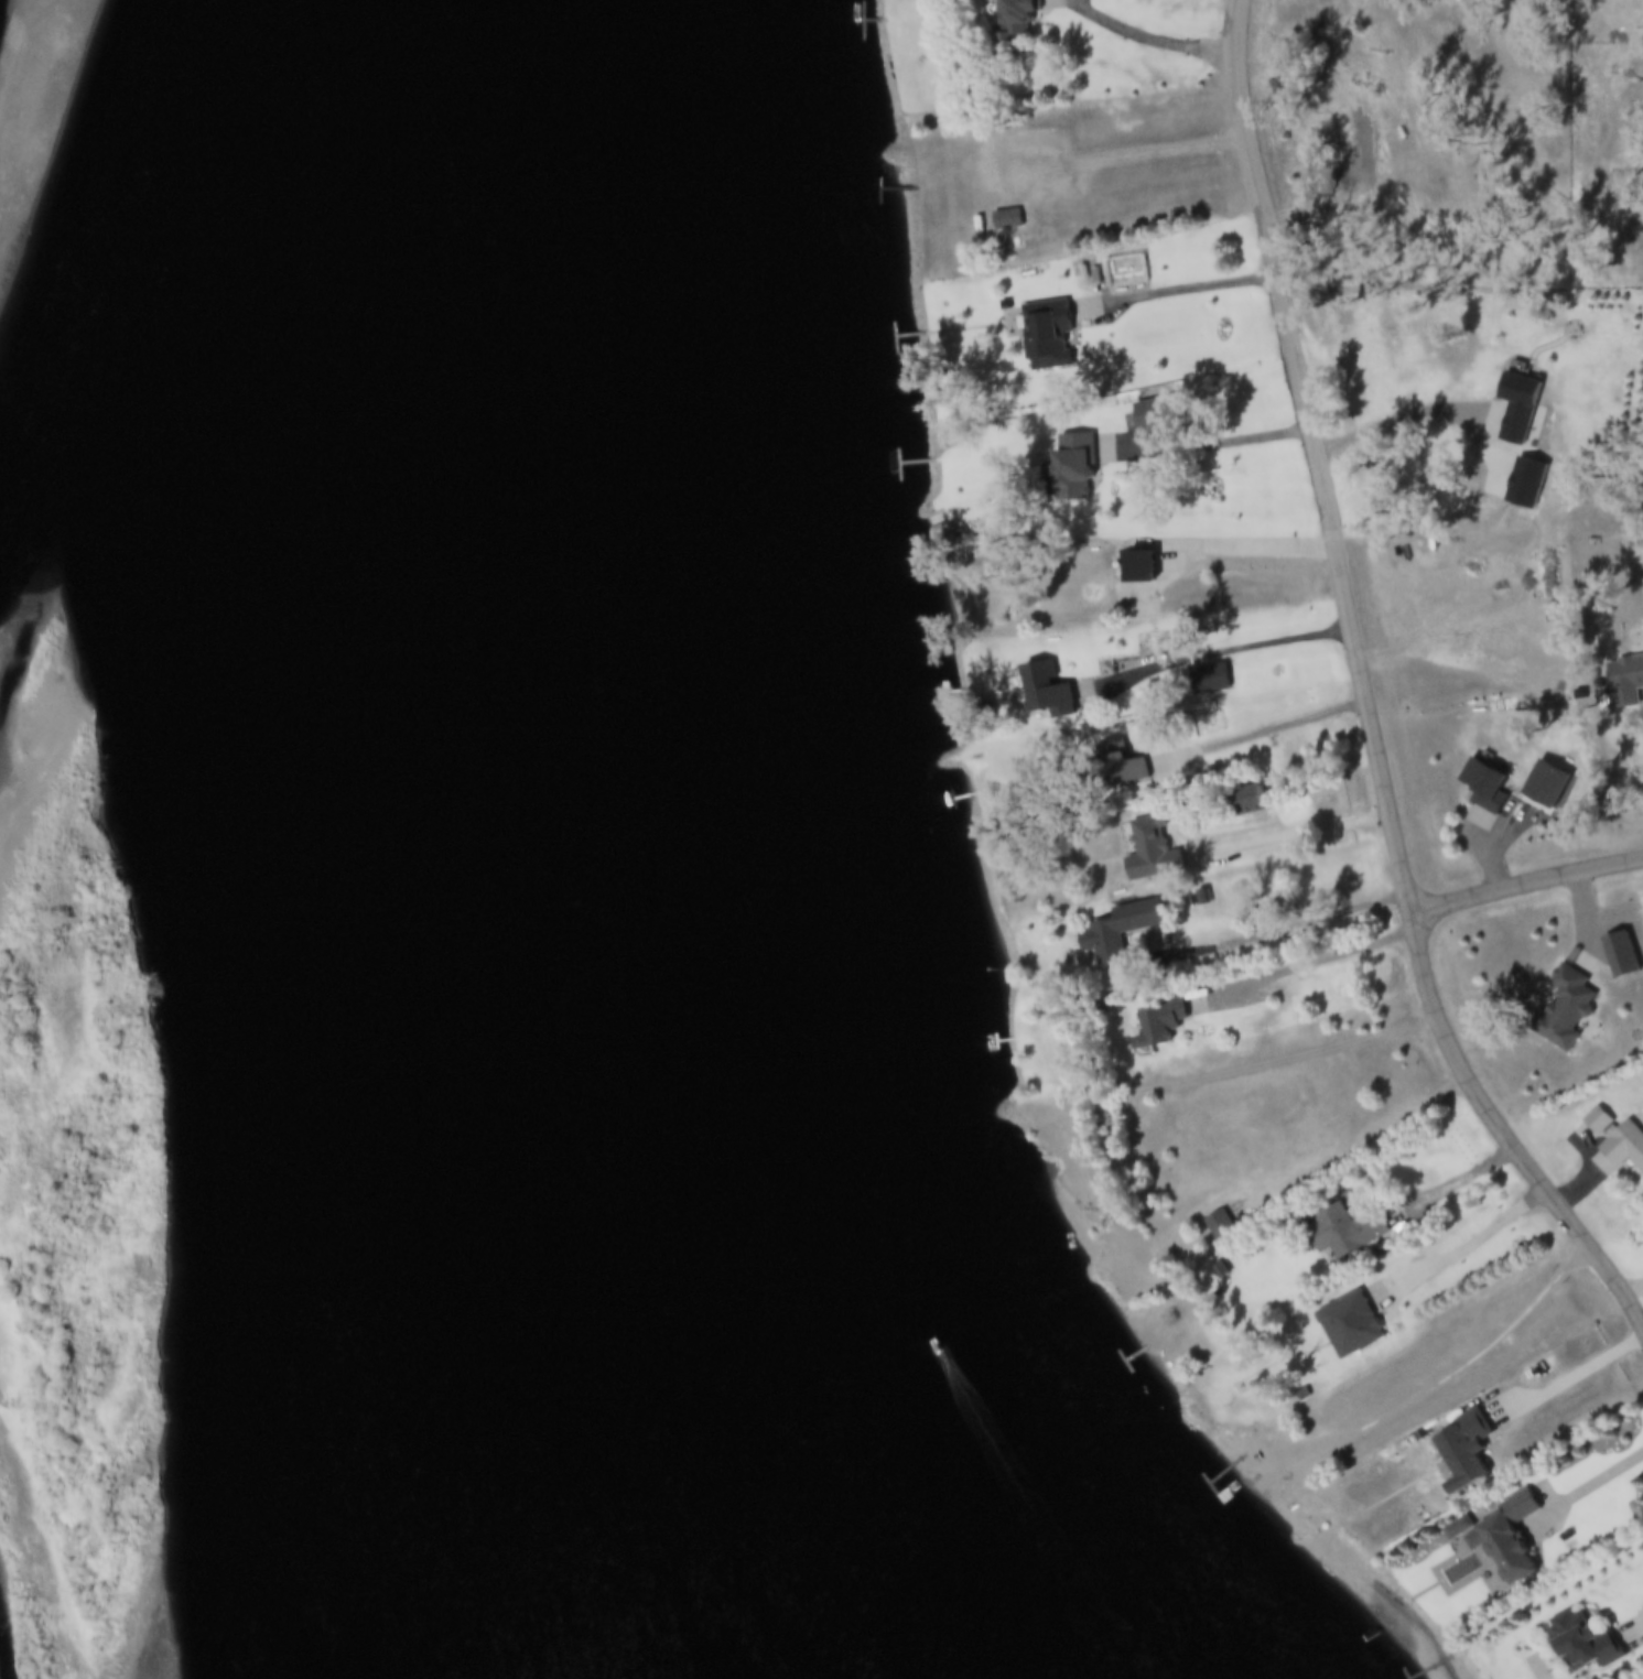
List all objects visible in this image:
building: (1012, 24)
road: (1152, 40)
road: (1141, 140)
building: (1005, 221)
road: (1276, 277)
road: (1181, 288)
building: (1044, 337)
building: (1514, 408)
building: (1070, 469)
road: (1246, 553)
building: (1135, 570)
road: (1217, 653)
building: (1623, 683)
building: (1044, 693)
road: (1237, 739)
building: (1116, 772)
building: (1482, 788)
building: (1242, 803)
road: (1294, 835)
river: (617, 838)
building: (1147, 853)
building: (1339, 879)
road: (1526, 882)
road: (1285, 927)
building: (1116, 931)
building: (1618, 958)
road: (1424, 968)
building: (1561, 1011)
building: (1155, 1027)
road: (1269, 1062)
road: (1361, 1142)
building: (1623, 1148)
road: (1463, 1181)
building: (1220, 1226)
building: (1348, 1232)
road: (1459, 1248)
building: (1351, 1325)
road: (1468, 1366)
road: (1569, 1383)
building: (1468, 1443)
road: (1587, 1484)
building: (1459, 1529)
building: (1509, 1539)
building: (1583, 1644)

